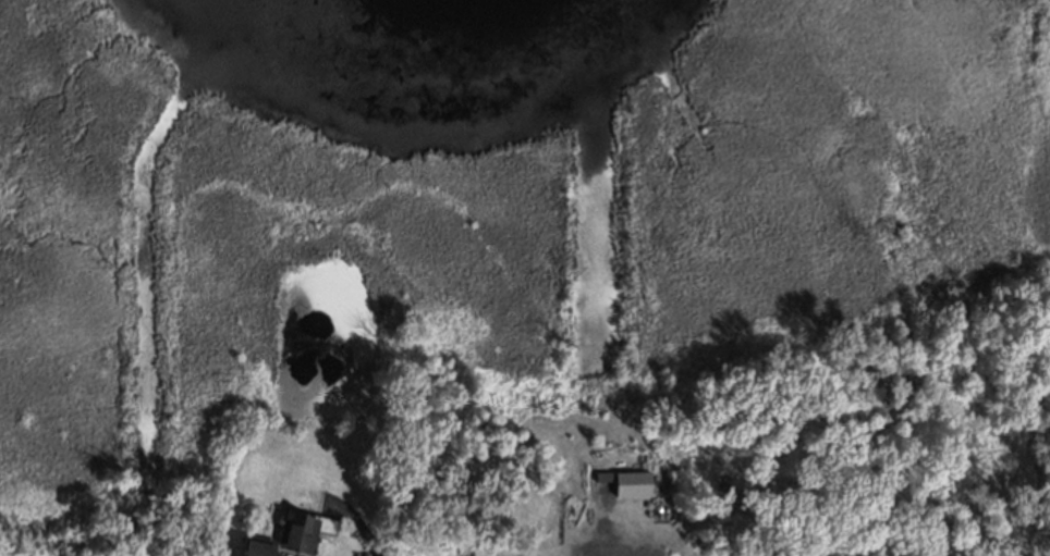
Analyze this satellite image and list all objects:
building: (628, 482)
building: (327, 526)
building: (294, 530)
road: (613, 530)
building: (252, 545)
road: (574, 549)

